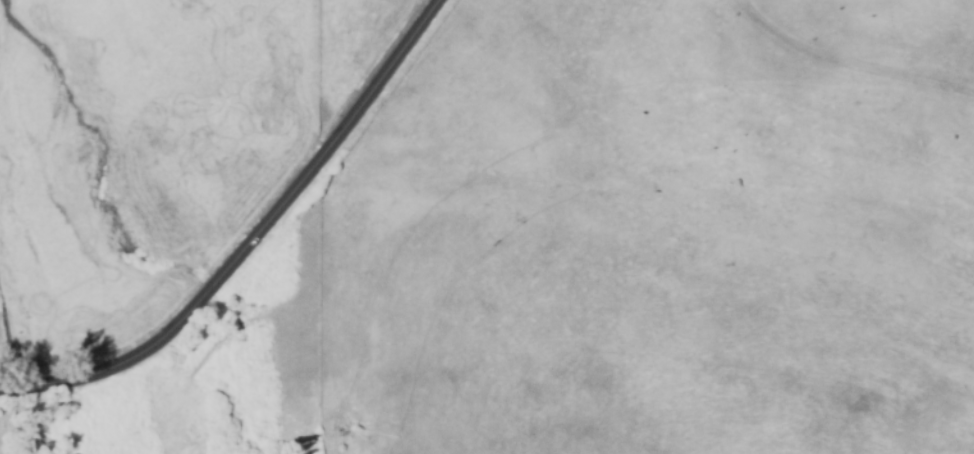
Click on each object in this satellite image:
road: (254, 244)
road: (321, 313)

